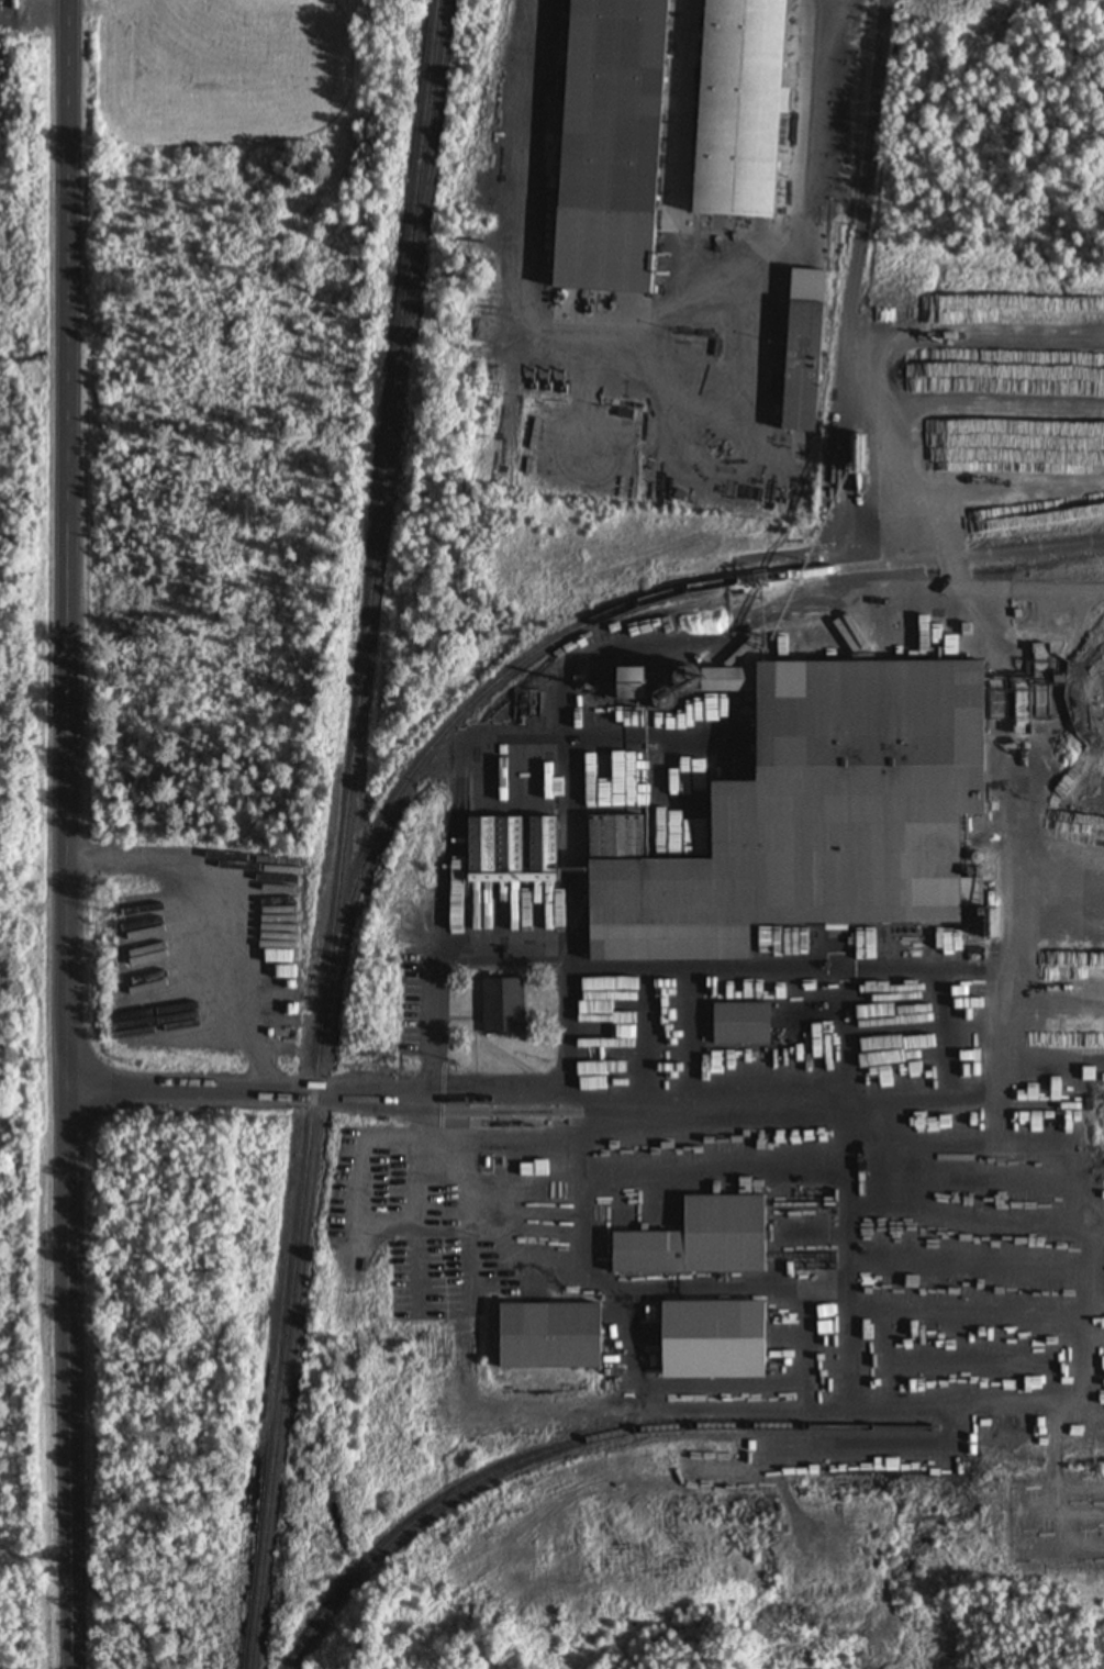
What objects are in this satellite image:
building: (747, 109)
road: (873, 136)
building: (621, 144)
railway: (432, 156)
building: (799, 369)
railway: (599, 619)
road: (68, 722)
building: (823, 821)
railway: (342, 834)
building: (489, 847)
building: (500, 1008)
building: (133, 1039)
road: (460, 1097)
building: (696, 1242)
building: (545, 1338)
railway: (571, 1445)
road: (65, 1557)

